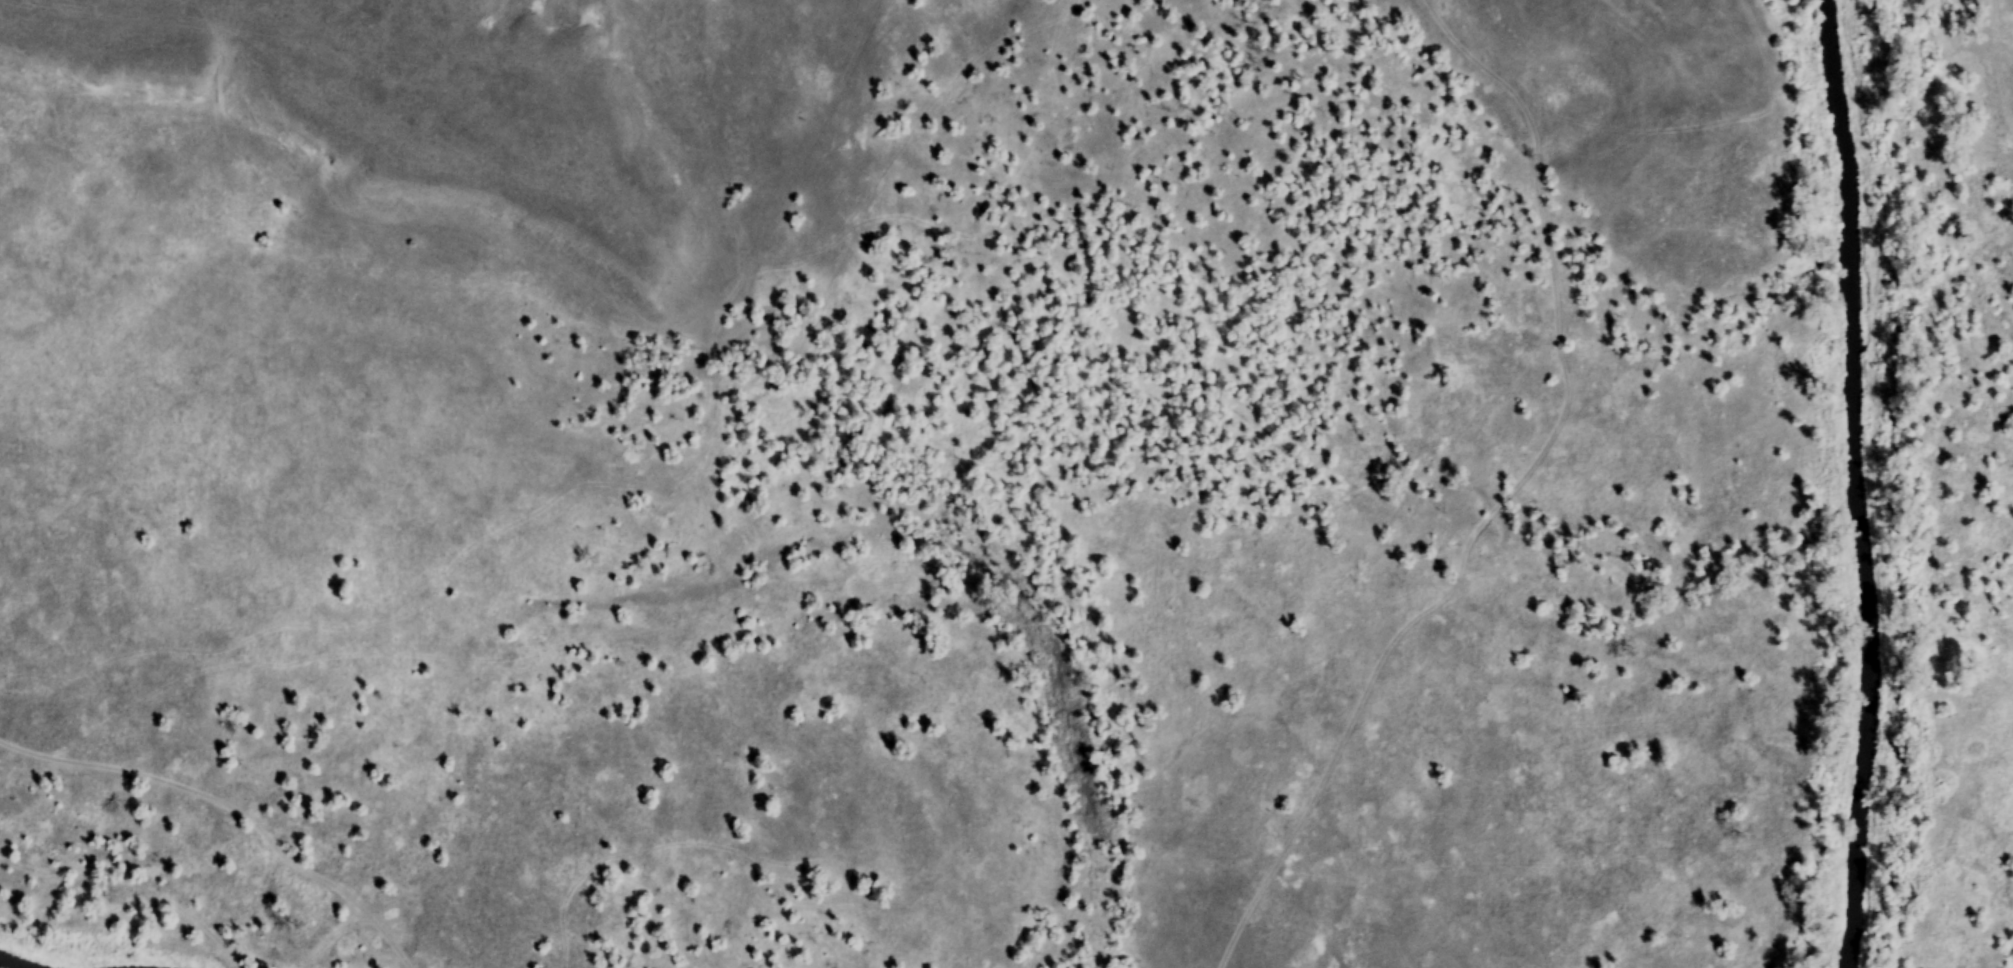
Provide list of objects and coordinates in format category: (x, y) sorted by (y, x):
river: (1855, 483)
road: (207, 837)
river: (14, 963)

